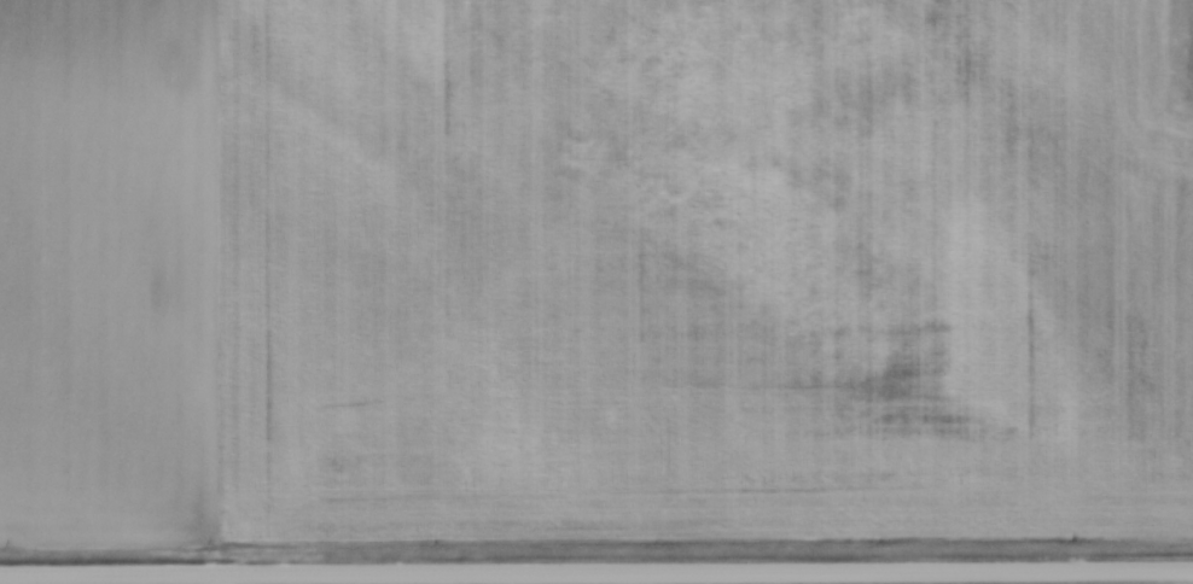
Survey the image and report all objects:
road: (596, 574)

